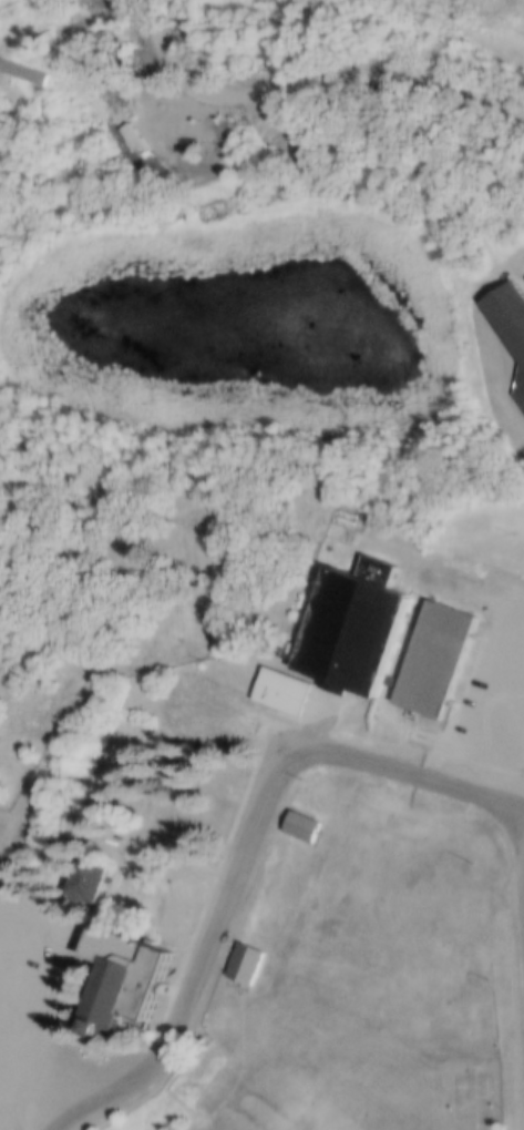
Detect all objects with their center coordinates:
building: (511, 320)
building: (351, 627)
building: (433, 655)
building: (390, 676)
building: (280, 685)
park: (37, 698)
building: (213, 707)
road: (499, 730)
building: (166, 814)
building: (300, 822)
road: (247, 853)
building: (84, 874)
building: (174, 903)
building: (243, 959)
park: (361, 974)
building: (122, 975)
building: (300, 984)
road: (39, 1088)
park: (475, 1098)
road: (25, 1107)

